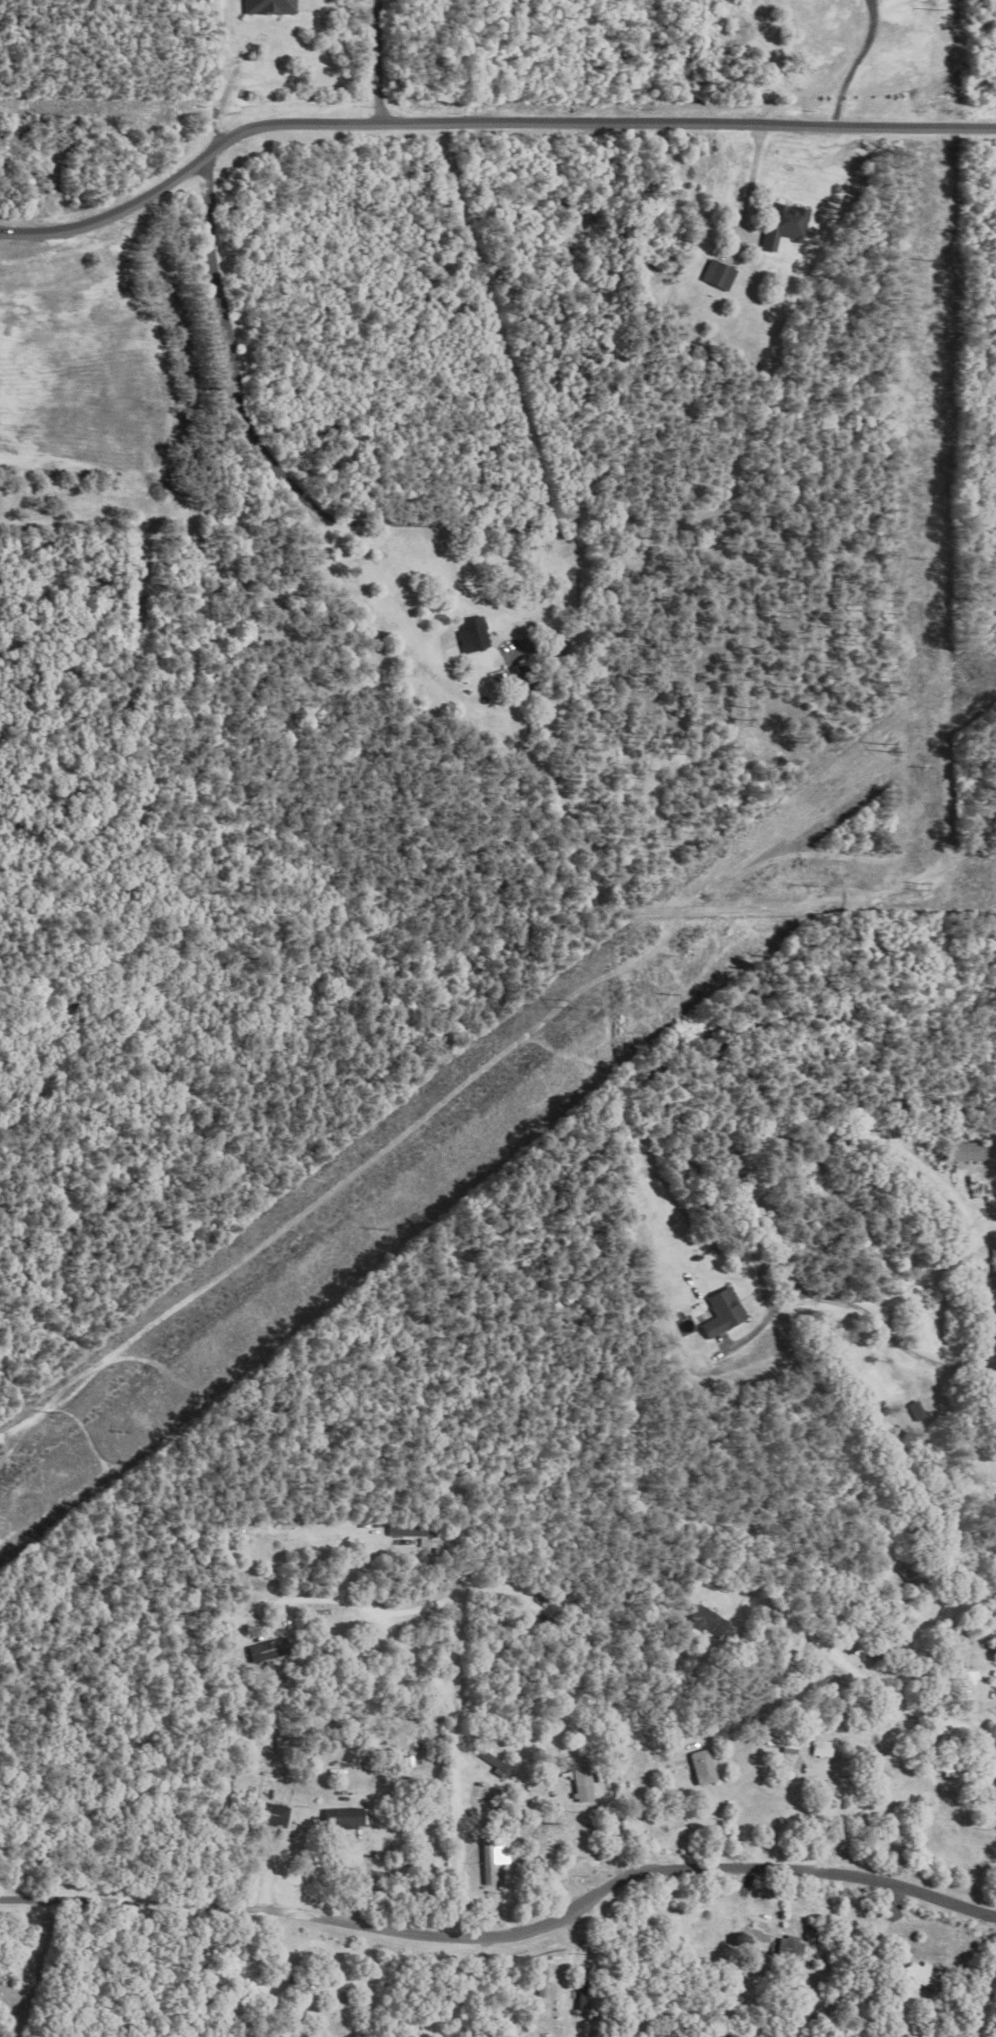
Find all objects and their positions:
building: (268, 6)
road: (380, 61)
road: (856, 64)
road: (483, 122)
road: (752, 179)
building: (783, 224)
building: (717, 274)
road: (283, 479)
building: (471, 634)
building: (516, 678)
building: (969, 1151)
building: (724, 1313)
building: (428, 1544)
road: (458, 1595)
building: (705, 1620)
road: (450, 1651)
road: (893, 1699)
building: (782, 1744)
building: (818, 1748)
road: (455, 1755)
building: (496, 1765)
building: (699, 1766)
building: (947, 1768)
building: (579, 1783)
road: (795, 1809)
road: (637, 1810)
building: (270, 1814)
building: (345, 1816)
building: (487, 1859)
road: (507, 1935)
building: (786, 1944)
building: (921, 1976)
building: (538, 1979)
building: (580, 1987)

